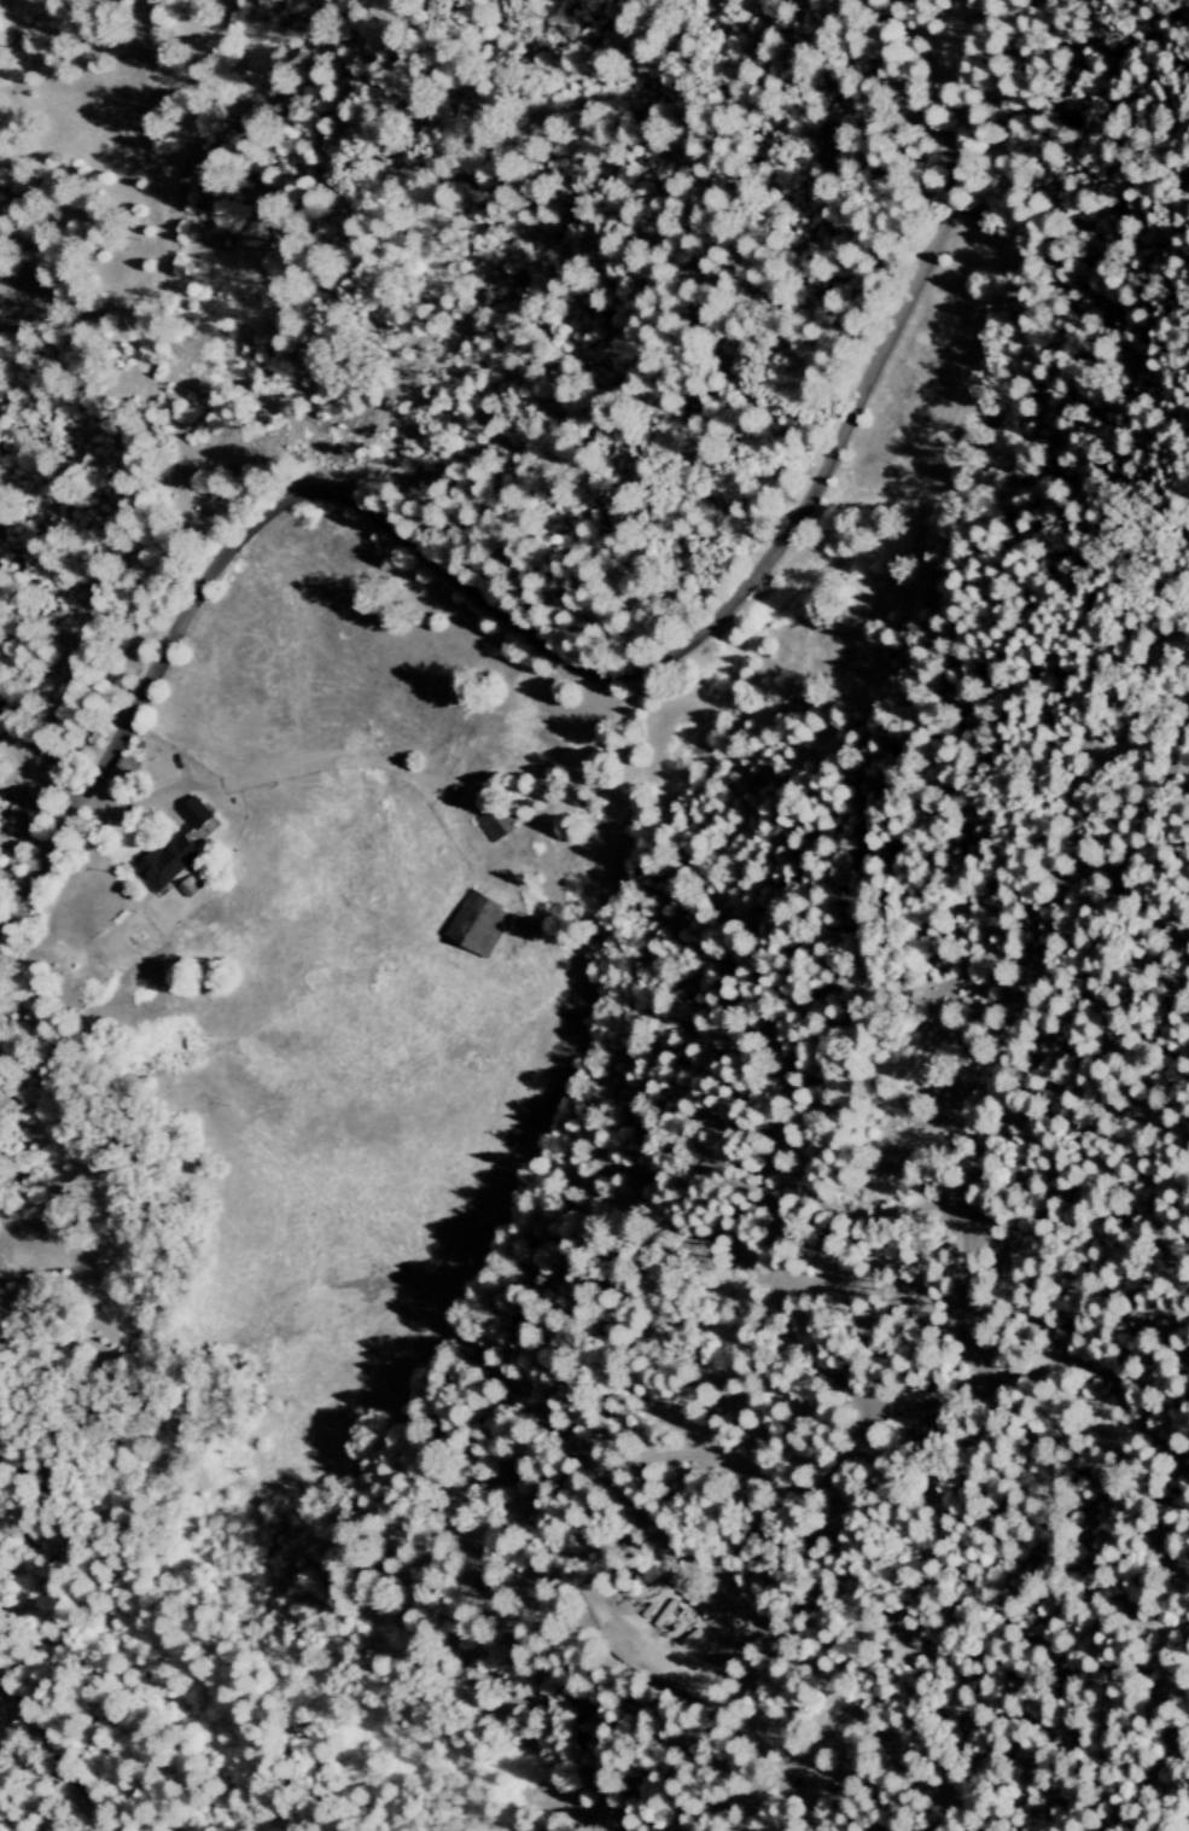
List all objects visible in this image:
road: (915, 89)
road: (491, 606)
road: (40, 744)
road: (98, 802)
building: (0, 807)
building: (176, 847)
road: (844, 885)
road: (1088, 973)
road: (916, 1395)
road: (56, 1756)

